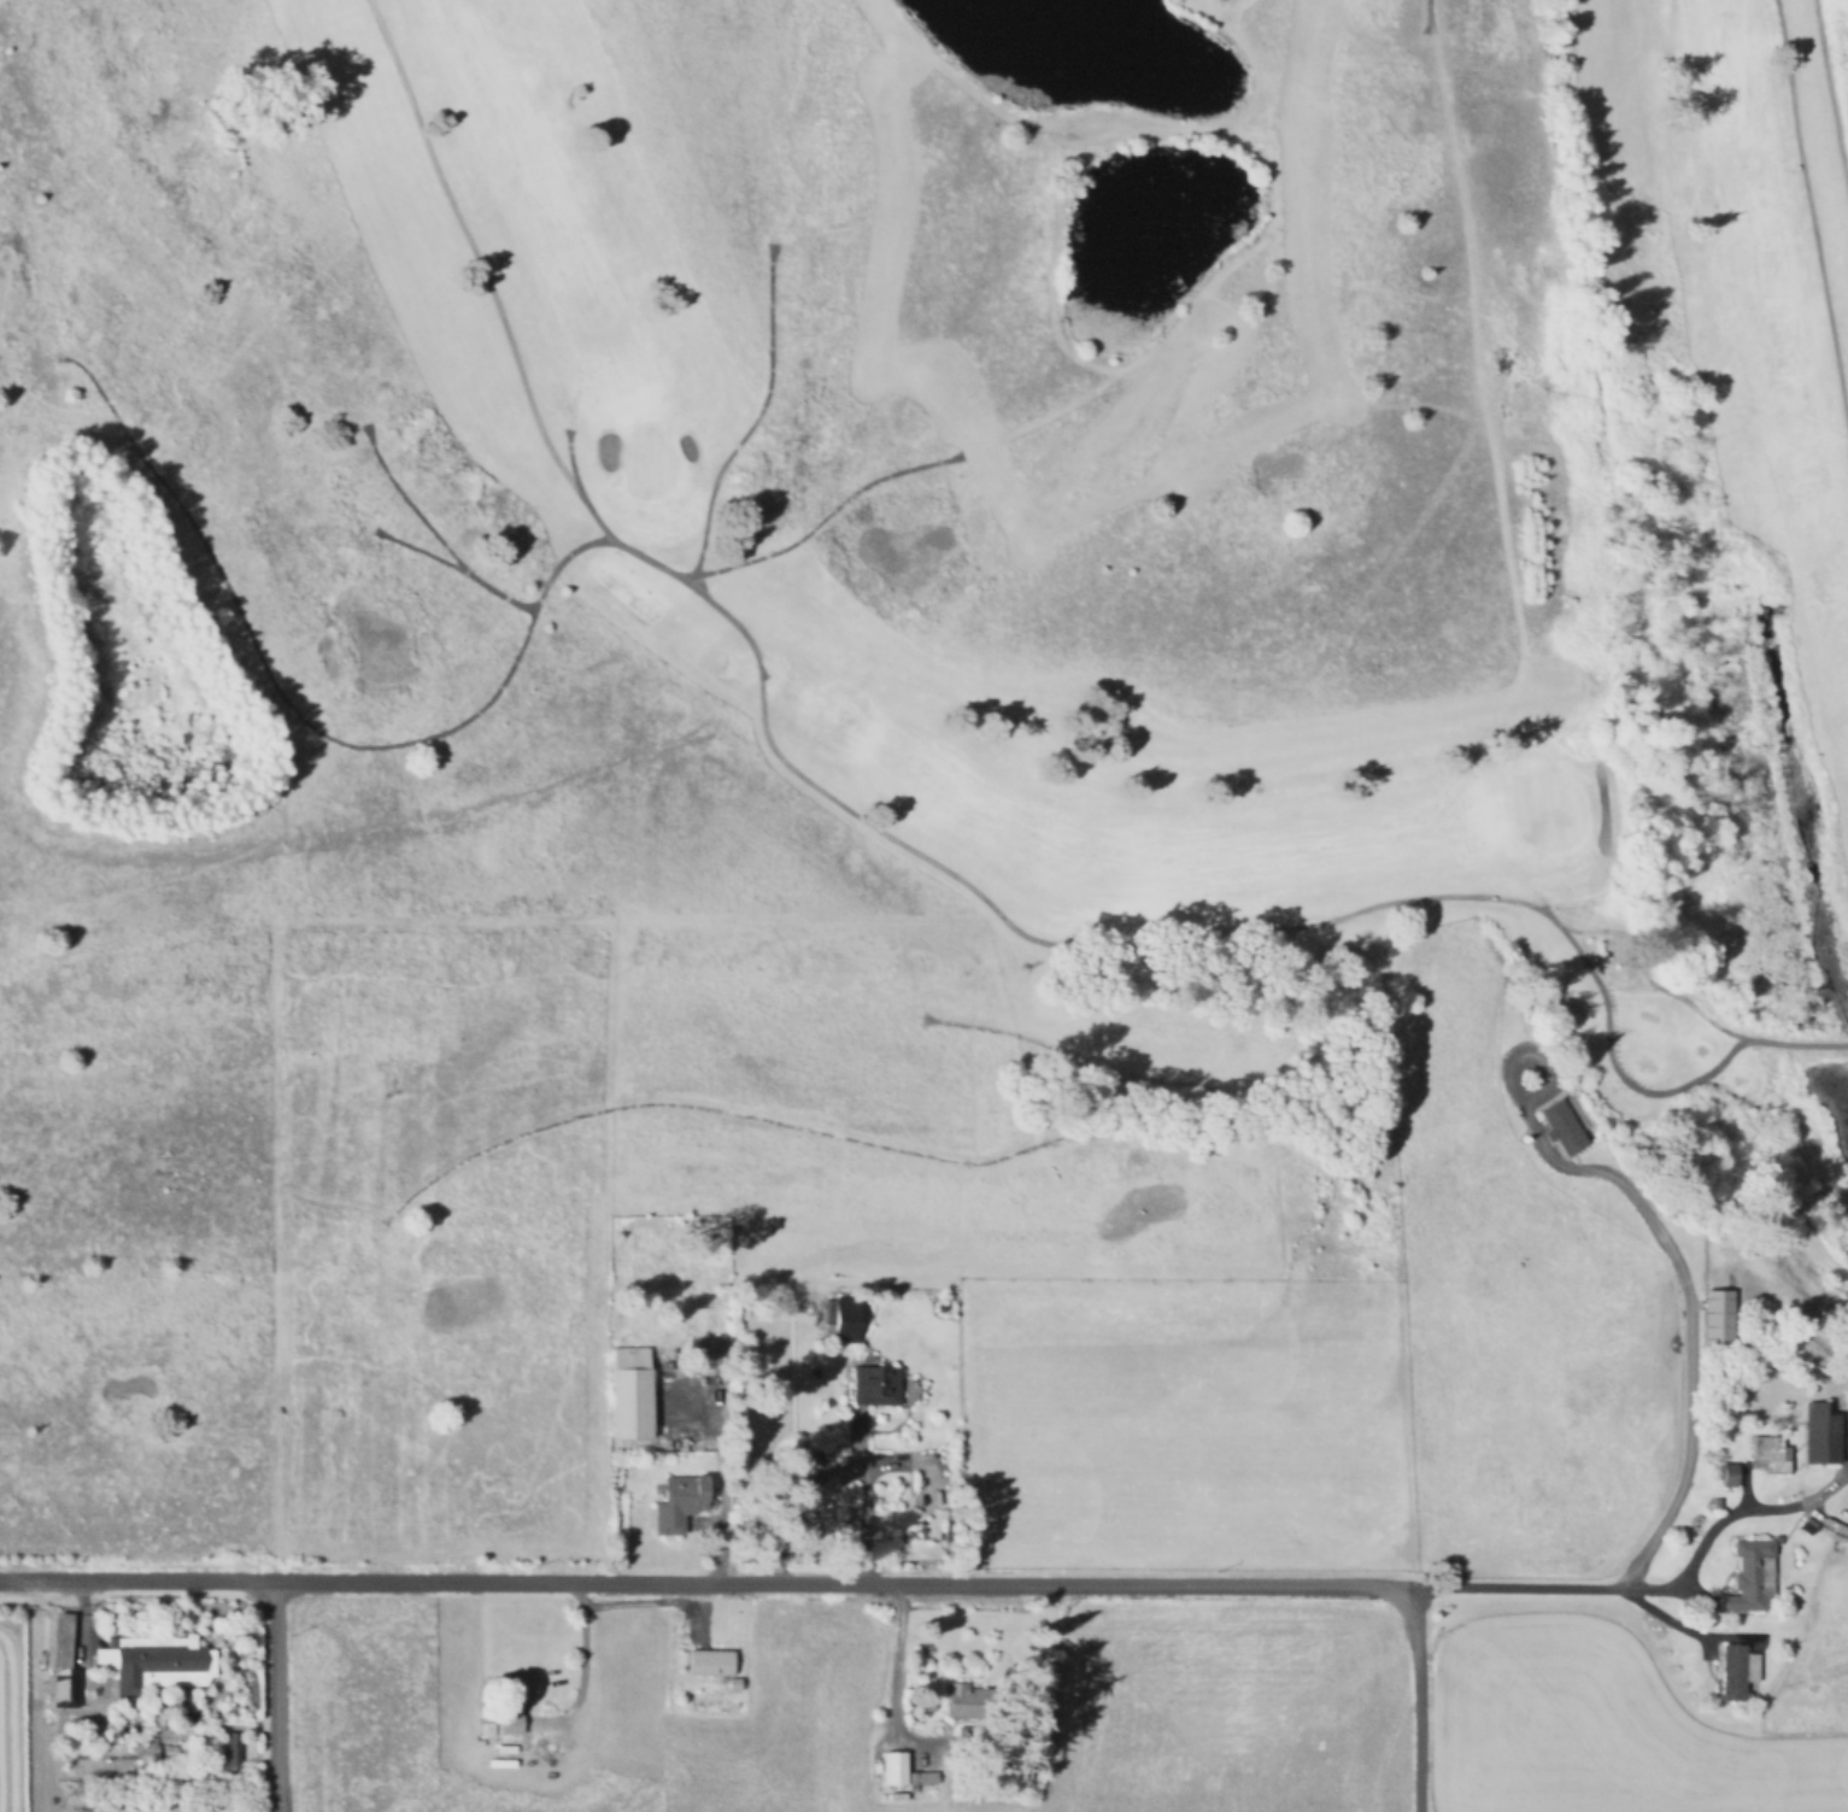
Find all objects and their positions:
building: (1181, 0)
road: (1830, 101)
road: (1811, 212)
road: (483, 274)
road: (1480, 339)
road: (1428, 404)
road: (756, 414)
road: (569, 459)
park: (646, 459)
road: (820, 518)
road: (430, 530)
road: (416, 547)
park: (881, 717)
road: (820, 788)
park: (1545, 805)
road: (1645, 975)
building: (1561, 1130)
building: (1717, 1317)
building: (846, 1318)
road: (1686, 1338)
building: (709, 1355)
building: (667, 1365)
building: (875, 1384)
building: (632, 1392)
building: (1820, 1441)
building: (1768, 1458)
building: (1727, 1480)
building: (680, 1501)
road: (797, 1505)
road: (861, 1506)
road: (1721, 1518)
building: (1806, 1529)
building: (1752, 1572)
road: (708, 1579)
road: (634, 1601)
road: (1683, 1628)
road: (581, 1638)
building: (60, 1646)
building: (708, 1658)
building: (158, 1661)
road: (893, 1667)
building: (1737, 1677)
road: (276, 1689)
building: (68, 1690)
building: (518, 1693)
road: (1415, 1700)
building: (973, 1711)
crop: (1050, 1716)
crop: (10, 1719)
building: (509, 1728)
building: (230, 1748)
building: (149, 1752)
building: (894, 1767)
building: (922, 1777)
road: (277, 1807)

